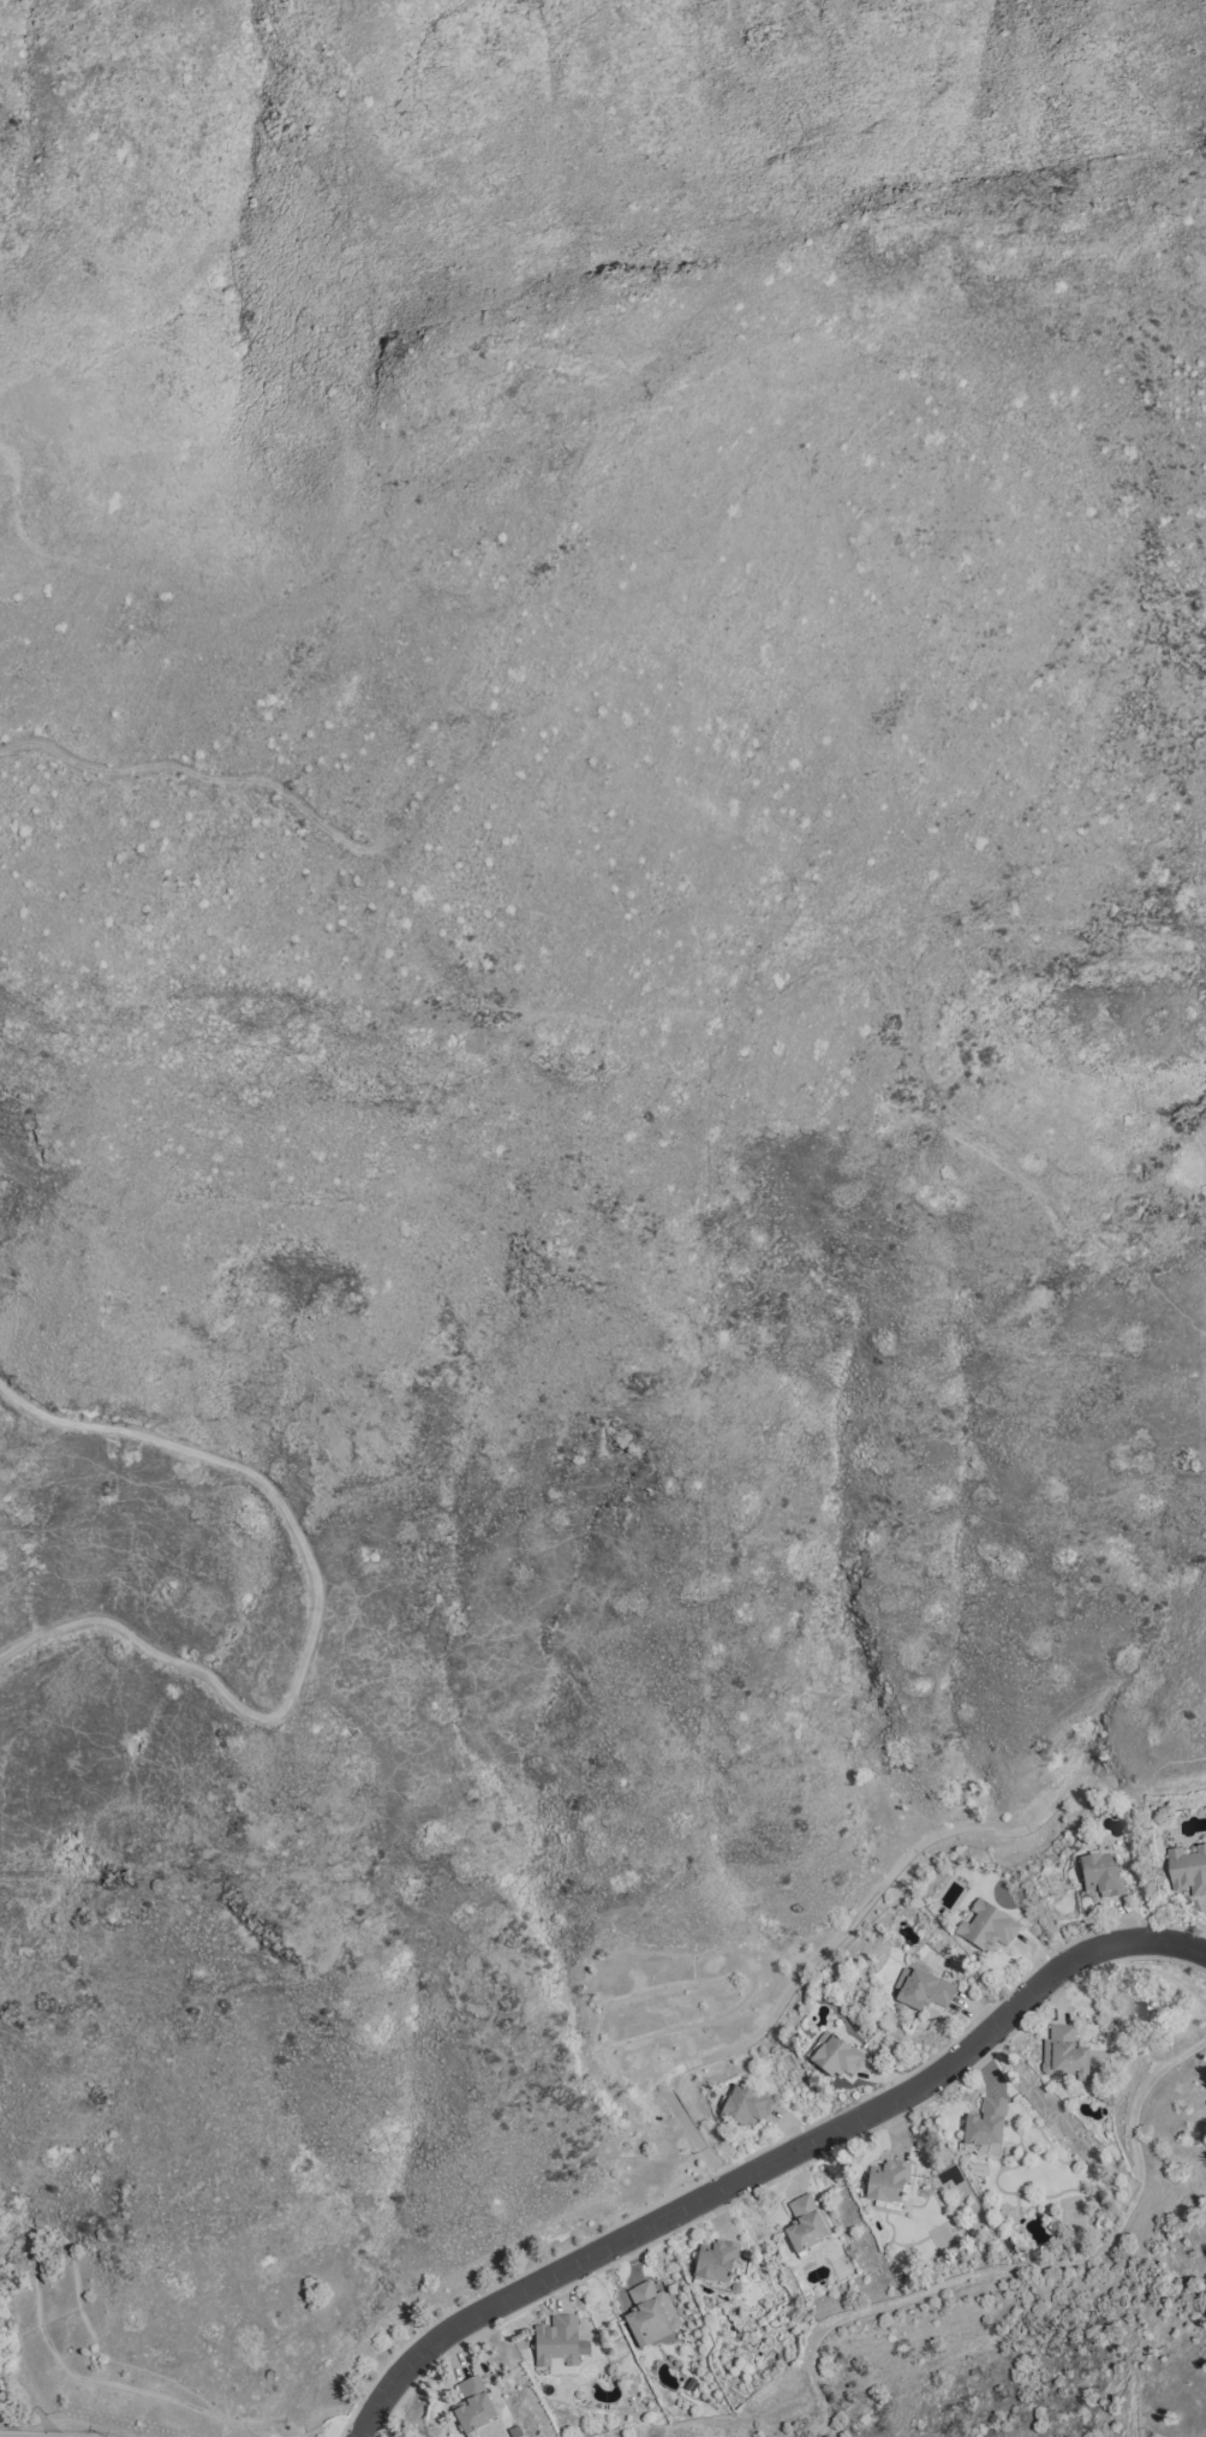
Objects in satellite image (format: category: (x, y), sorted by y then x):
road: (237, 776)
road: (316, 1608)
building: (1189, 1867)
building: (1101, 1875)
building: (987, 1927)
building: (923, 1989)
road: (735, 2038)
building: (1064, 2054)
building: (836, 2056)
building: (1106, 2096)
building: (746, 2107)
building: (986, 2127)
road: (771, 2162)
building: (888, 2183)
building: (805, 2224)
building: (716, 2264)
building: (736, 2288)
building: (650, 2314)
building: (560, 2344)
building: (691, 2383)
building: (543, 2387)
building: (473, 2406)
road: (82, 2418)

